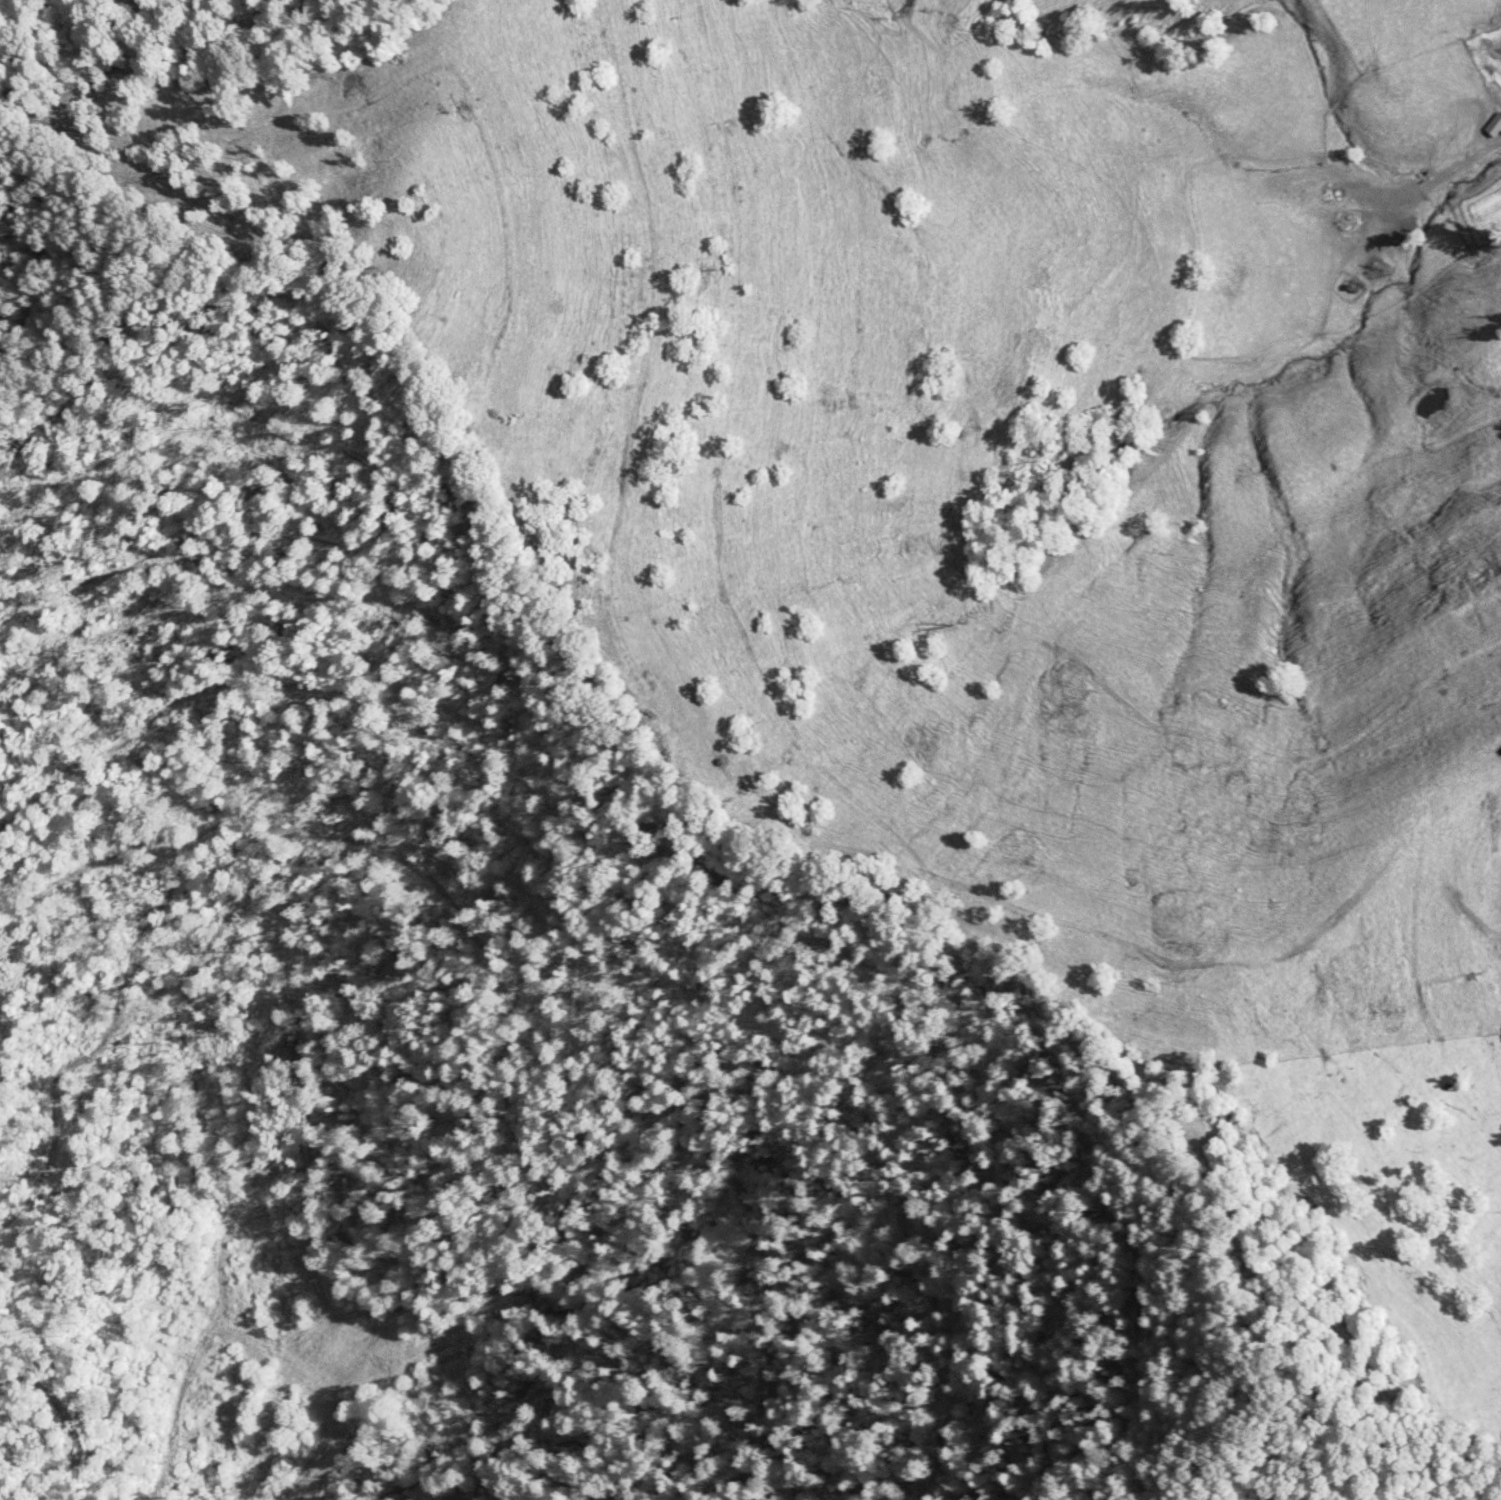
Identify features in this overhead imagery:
building: (1495, 126)
road: (1458, 172)

